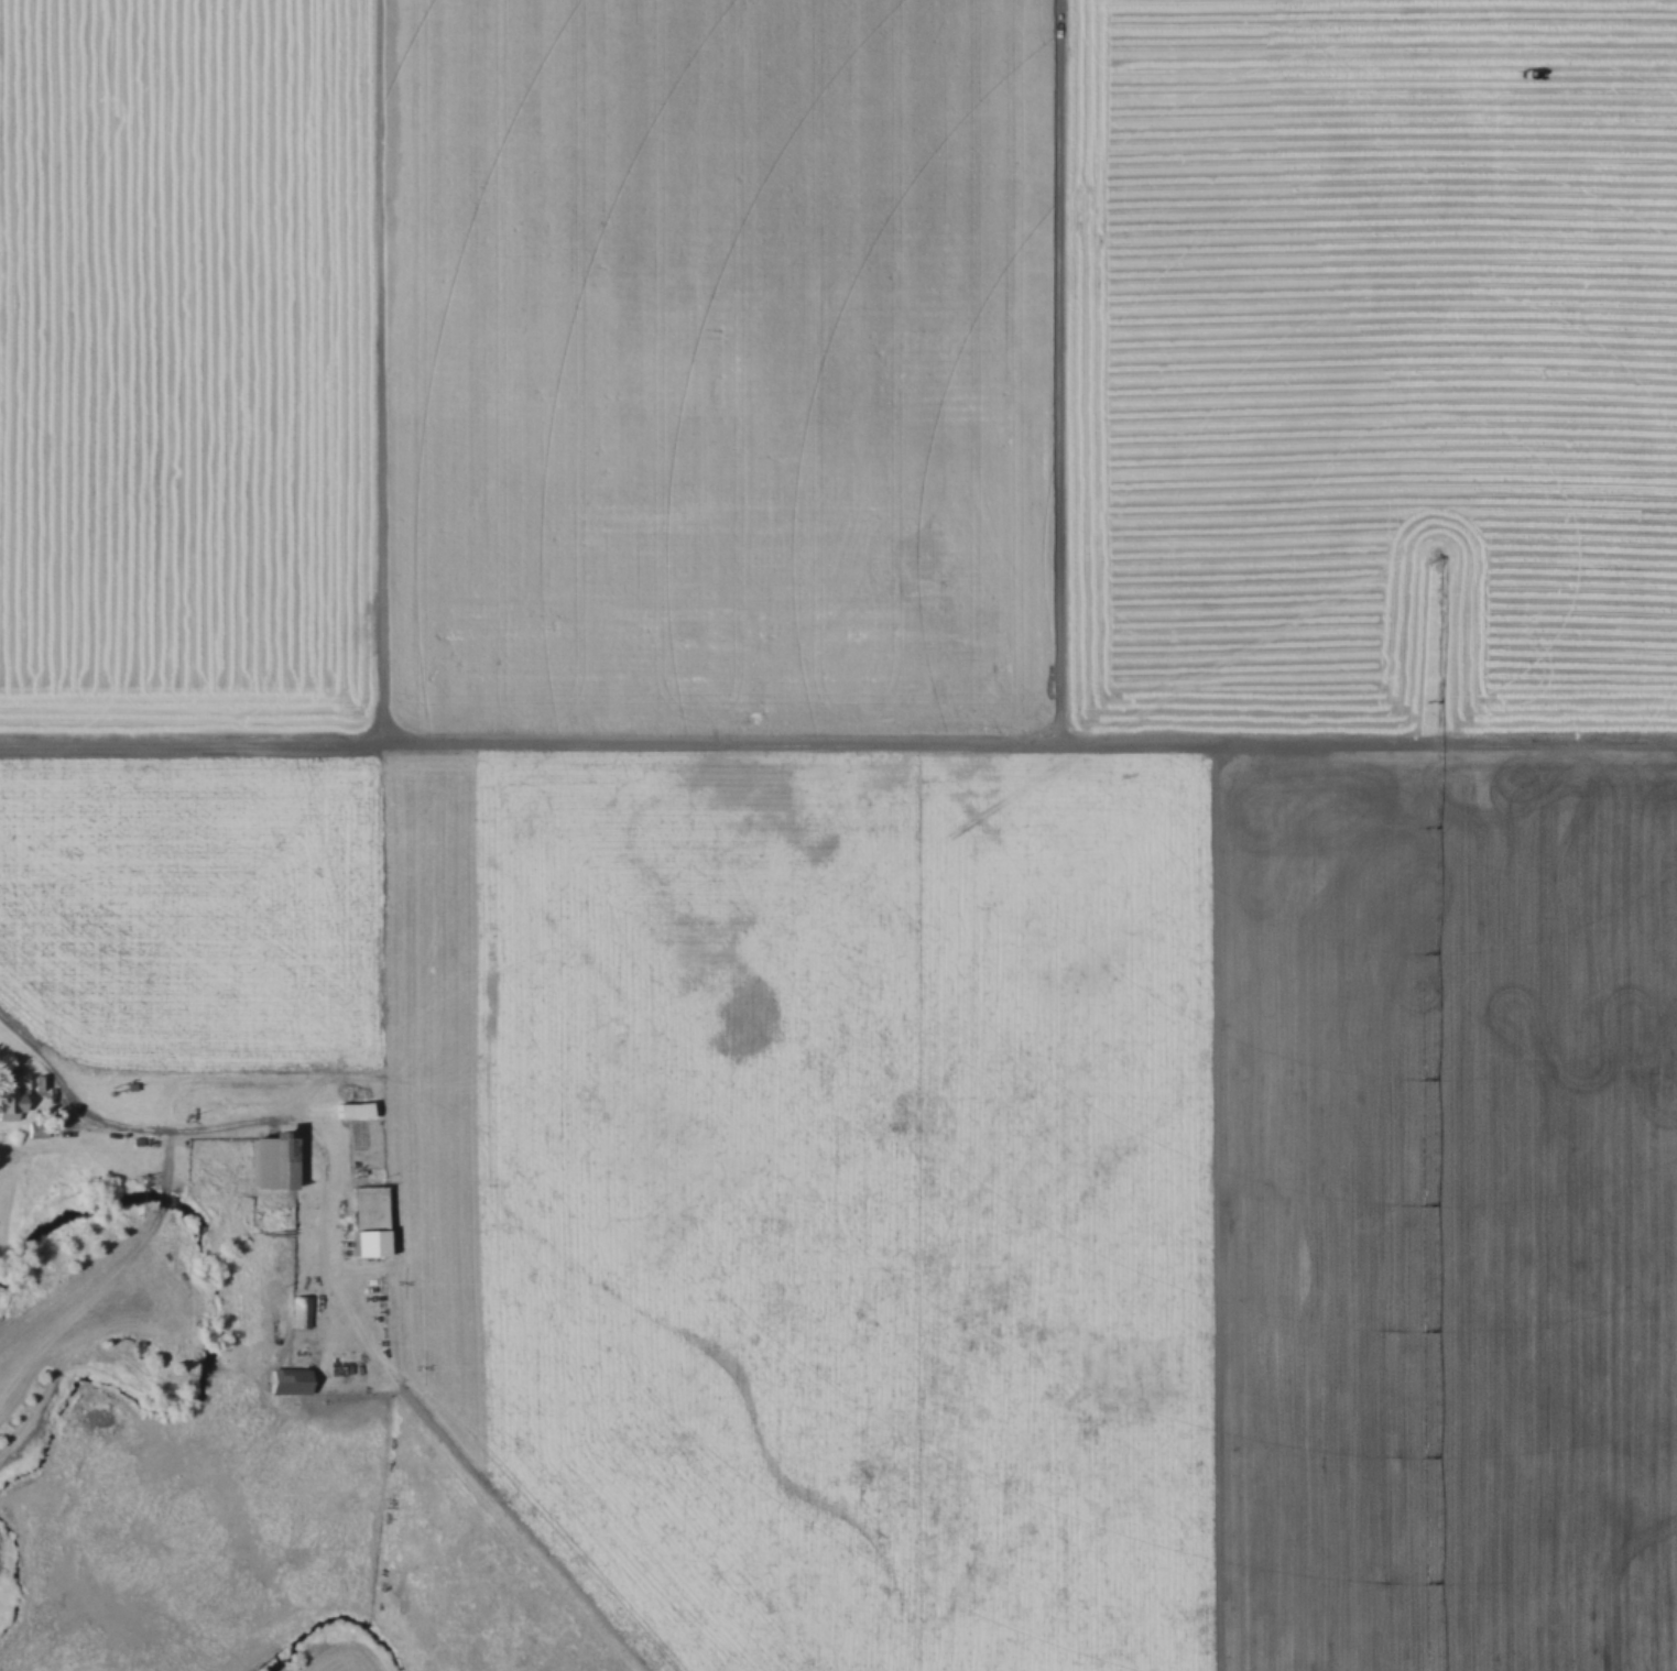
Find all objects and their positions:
building: (17, 1095)
road: (196, 1122)
building: (366, 1139)
building: (268, 1159)
building: (366, 1216)
building: (296, 1308)
building: (285, 1377)

